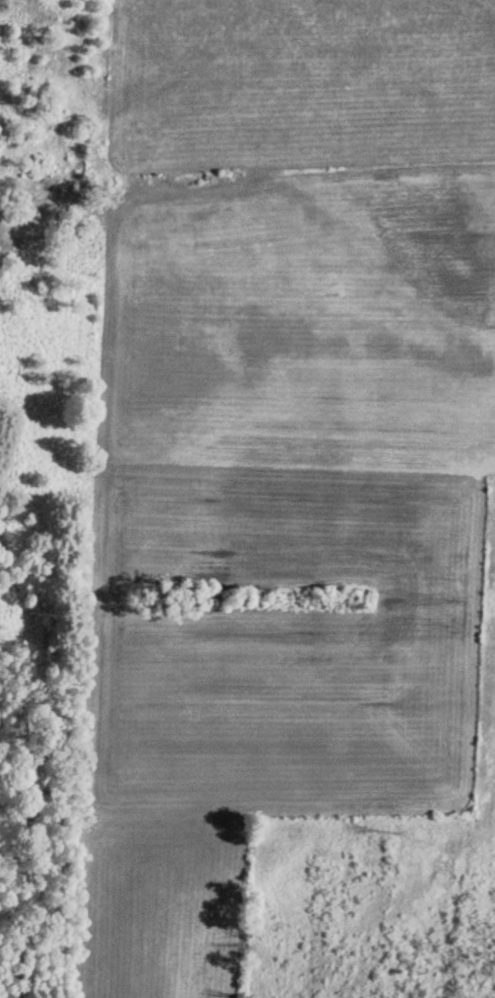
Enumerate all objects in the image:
crop: (299, 82)

